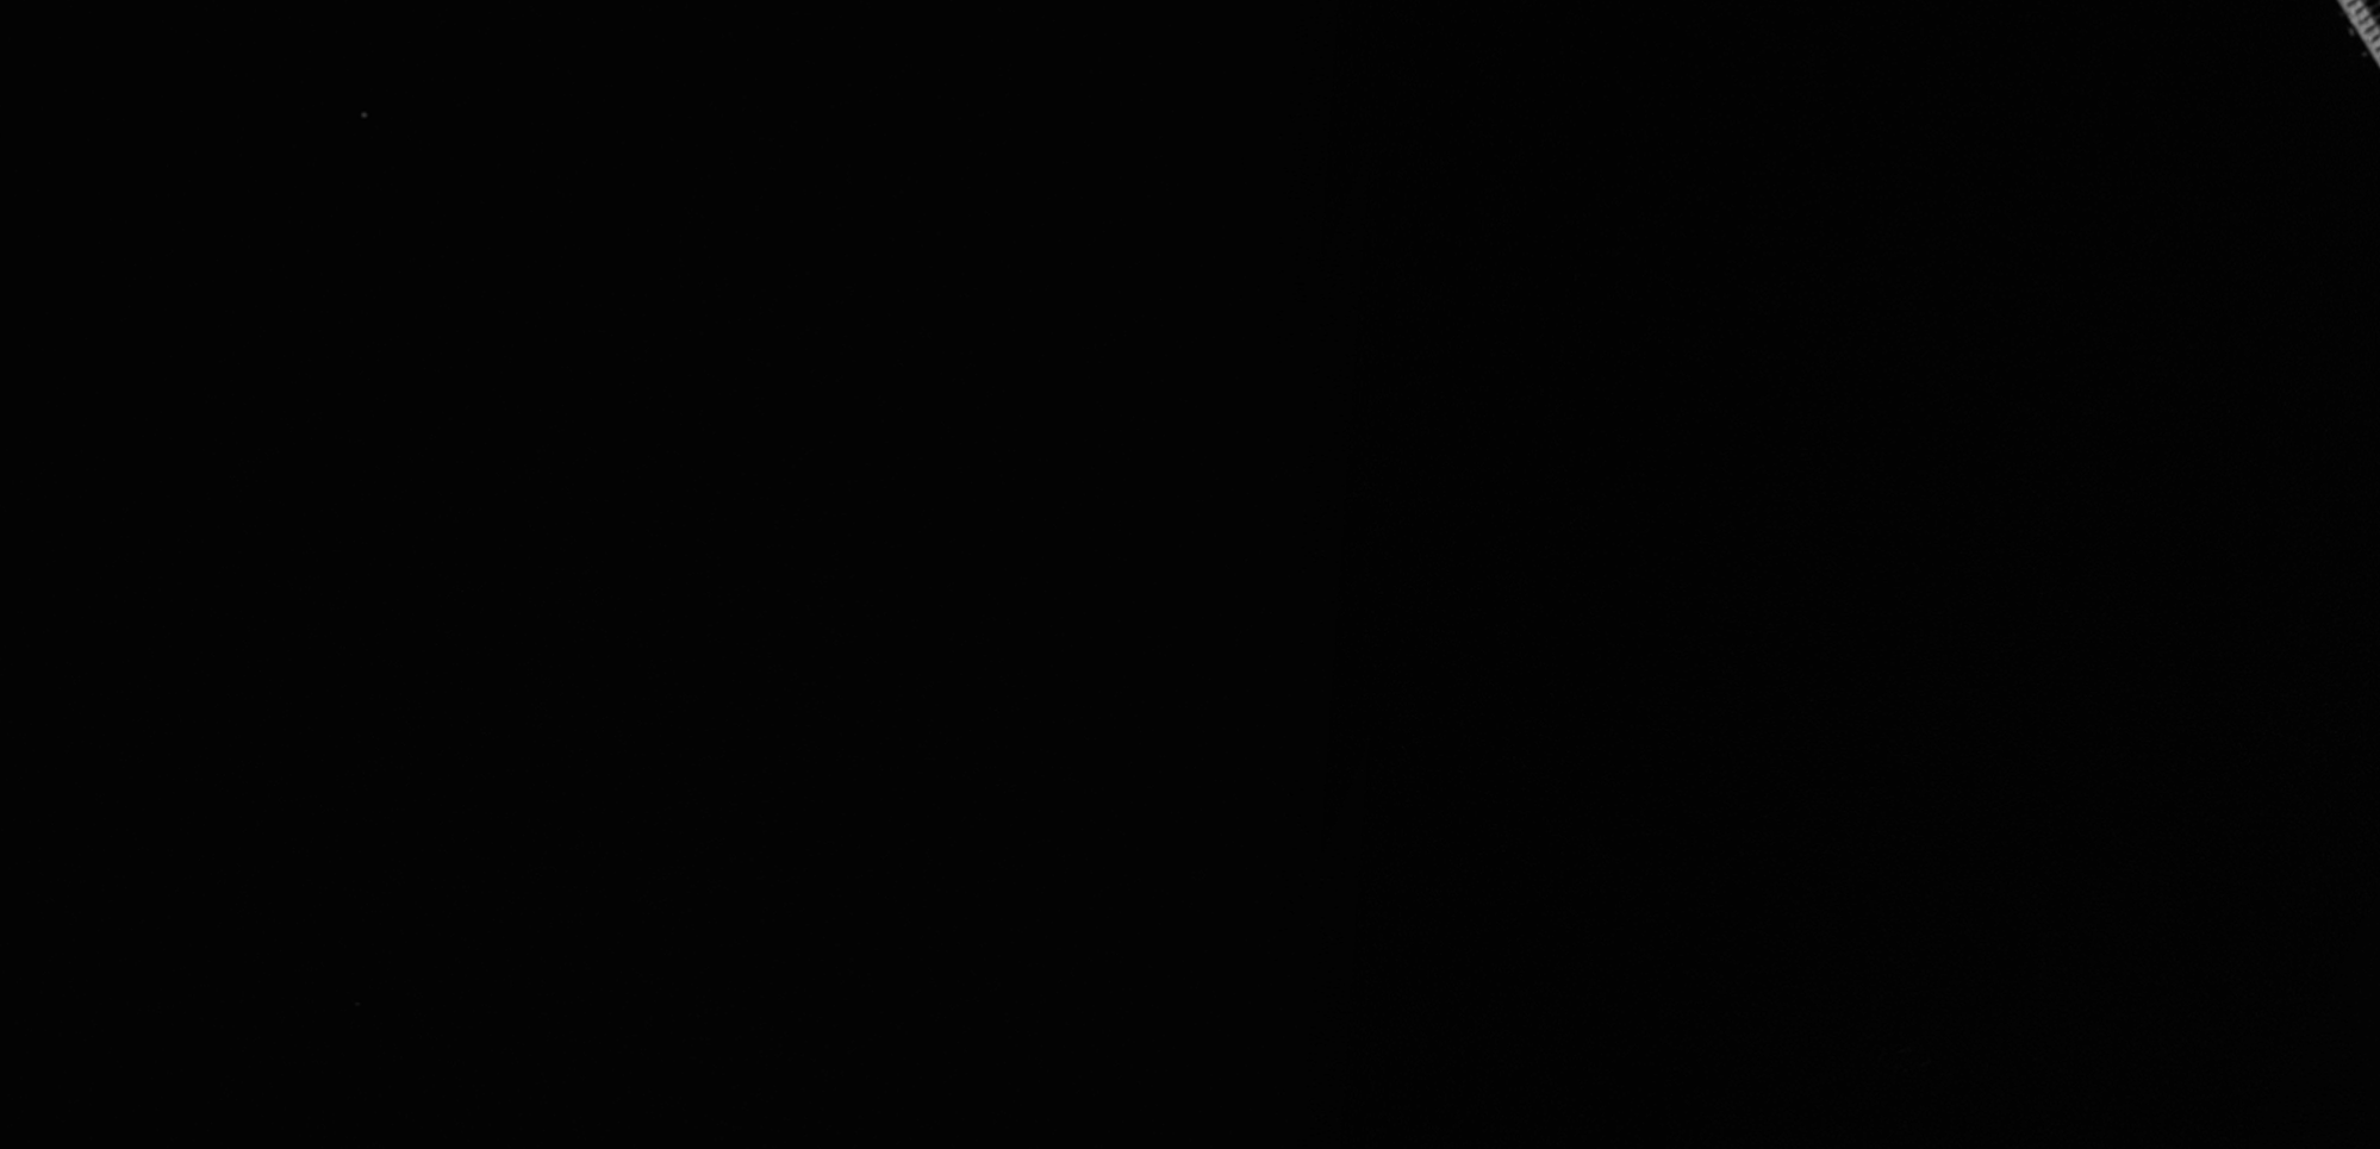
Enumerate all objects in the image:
park: (2365, 23)

